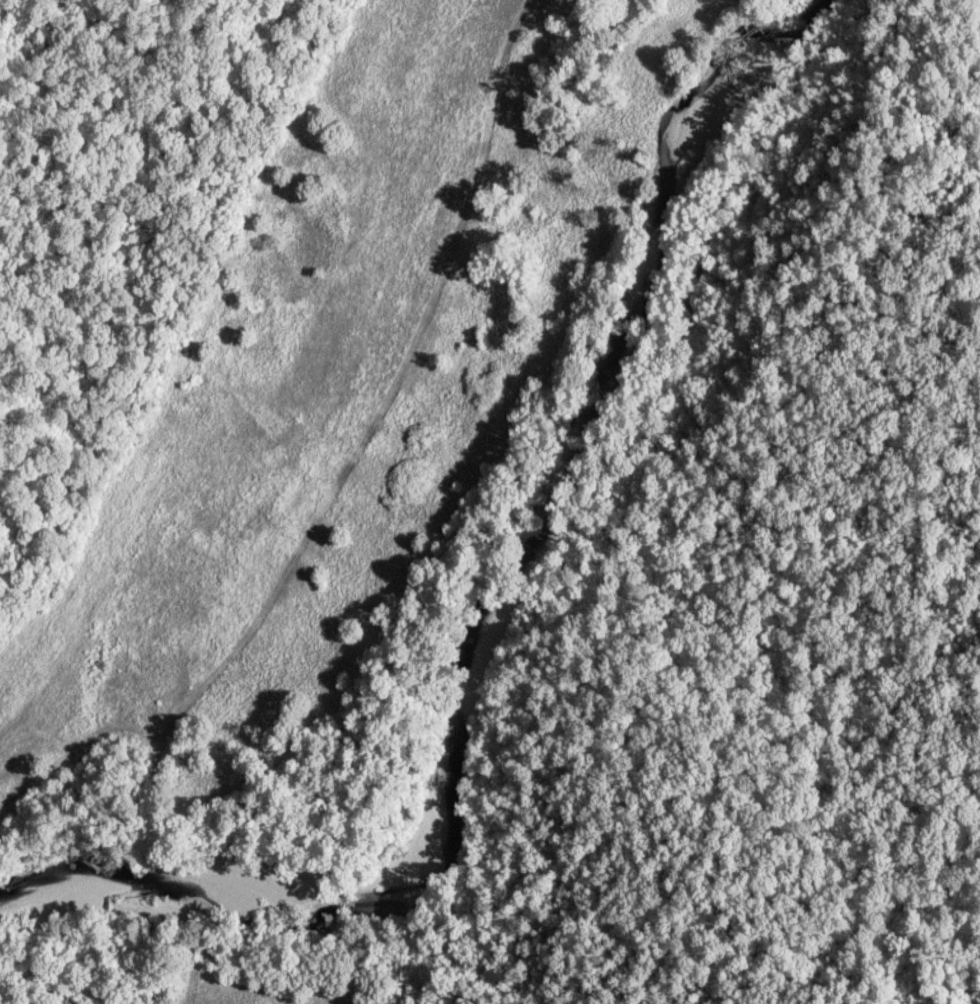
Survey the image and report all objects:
road: (321, 509)

